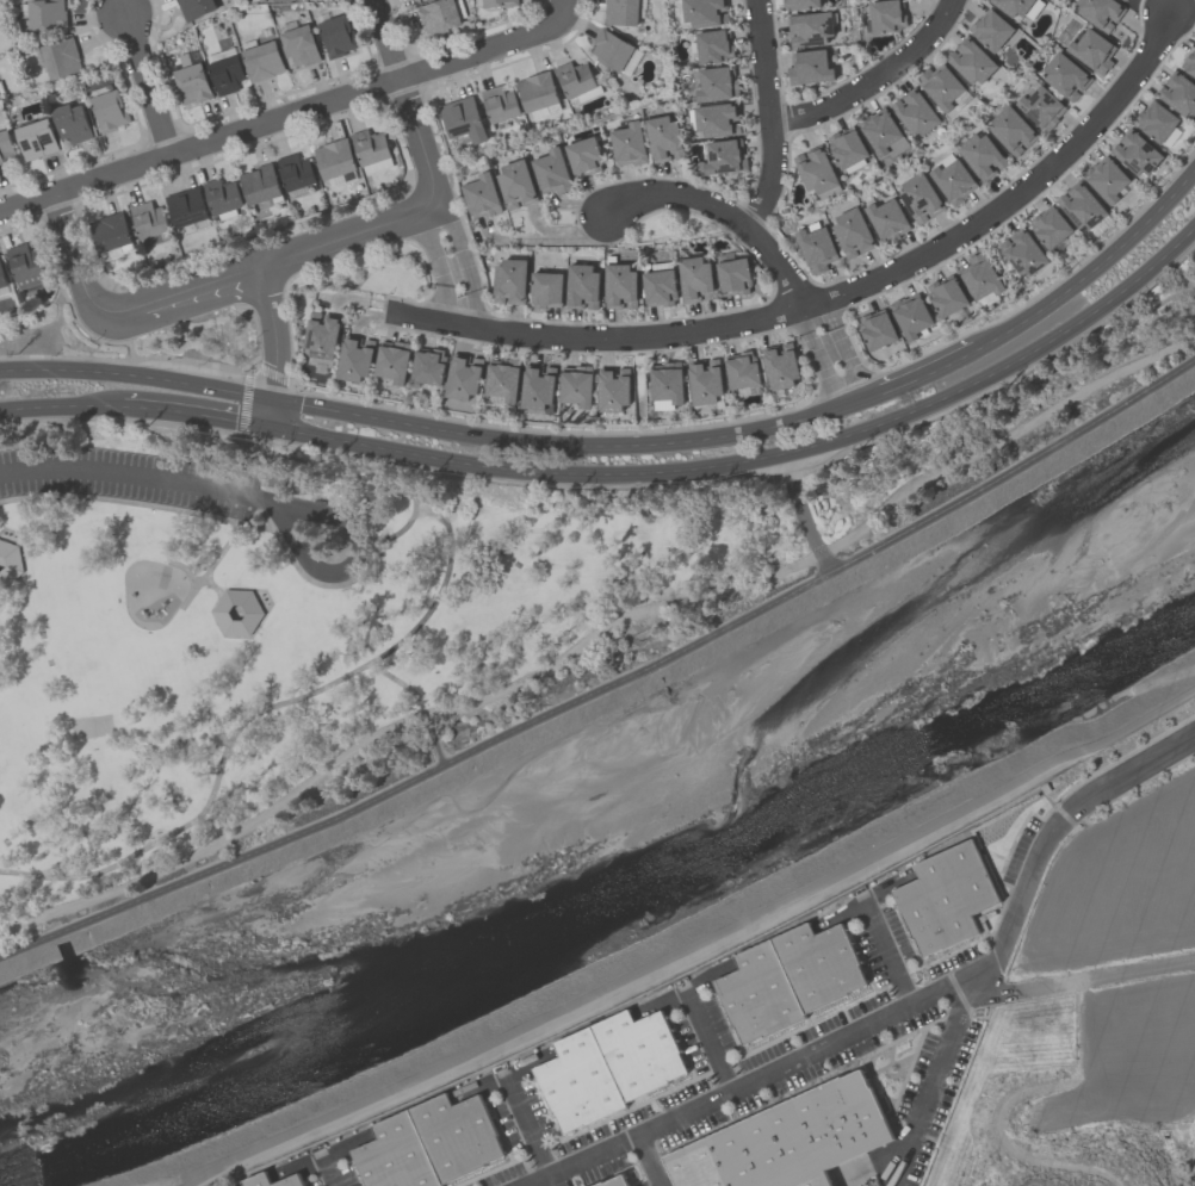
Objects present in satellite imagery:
building: (271, 0)
building: (1122, 0)
building: (499, 2)
building: (801, 4)
building: (1013, 6)
building: (194, 7)
building: (620, 12)
building: (705, 12)
building: (1101, 12)
building: (44, 14)
building: (438, 15)
building: (887, 15)
building: (810, 29)
building: (991, 29)
building: (336, 36)
building: (299, 45)
building: (713, 46)
building: (612, 50)
building: (1092, 51)
building: (61, 58)
building: (262, 61)
building: (971, 61)
building: (1189, 63)
building: (809, 67)
building: (225, 74)
building: (1065, 75)
building: (575, 79)
road: (873, 79)
road: (147, 83)
building: (192, 83)
building: (717, 83)
building: (940, 86)
building: (537, 91)
building: (1178, 93)
building: (0, 101)
building: (500, 104)
building: (1040, 107)
building: (110, 111)
road: (410, 111)
building: (916, 112)
road: (292, 113)
road: (769, 116)
building: (463, 119)
building: (717, 119)
building: (1156, 122)
building: (72, 123)
building: (879, 130)
building: (1013, 130)
building: (663, 138)
building: (36, 139)
building: (629, 144)
building: (5, 147)
building: (370, 147)
building: (847, 148)
building: (1135, 153)
building: (584, 156)
building: (982, 156)
building: (725, 157)
building: (335, 159)
building: (295, 172)
building: (551, 172)
building: (816, 172)
building: (1106, 179)
building: (954, 181)
building: (260, 185)
building: (516, 185)
building: (222, 195)
building: (482, 195)
building: (921, 198)
building: (1081, 206)
building: (187, 209)
road: (724, 212)
building: (149, 219)
building: (887, 219)
building: (1050, 226)
building: (111, 232)
building: (853, 234)
road: (553, 240)
road: (336, 242)
building: (816, 249)
building: (1023, 252)
road: (464, 260)
building: (25, 261)
road: (439, 267)
road: (1094, 272)
building: (733, 277)
building: (980, 277)
building: (2, 278)
road: (81, 279)
building: (695, 279)
building: (509, 281)
building: (620, 286)
building: (582, 287)
building: (660, 287)
road: (204, 288)
building: (546, 290)
road: (837, 293)
building: (947, 297)
building: (911, 315)
building: (877, 330)
road: (277, 335)
building: (322, 335)
road: (846, 343)
road: (819, 355)
building: (355, 358)
building: (392, 364)
building: (781, 366)
building: (428, 367)
building: (742, 372)
road: (924, 375)
building: (464, 377)
road: (140, 378)
building: (503, 379)
building: (667, 381)
building: (705, 381)
building: (577, 385)
building: (538, 387)
building: (613, 390)
road: (68, 406)
road: (275, 416)
road: (206, 418)
road: (575, 447)
road: (763, 459)
road: (357, 478)
road: (138, 479)
road: (425, 508)
road: (262, 511)
road: (427, 514)
road: (213, 516)
road: (806, 516)
road: (215, 559)
building: (10, 563)
road: (23, 564)
road: (357, 564)
road: (197, 576)
road: (198, 579)
road: (190, 580)
road: (196, 588)
road: (440, 589)
park: (390, 610)
building: (237, 614)
road: (264, 615)
road: (597, 637)
road: (611, 689)
road: (420, 704)
park: (92, 726)
road: (208, 805)
river: (603, 844)
building: (946, 899)
road: (695, 945)
road: (887, 954)
crop: (1108, 964)
building: (819, 965)
road: (1079, 981)
building: (760, 995)
road: (908, 1010)
road: (708, 1042)
building: (640, 1054)
road: (933, 1082)
building: (580, 1083)
road: (526, 1126)
building: (457, 1136)
building: (790, 1140)
building: (397, 1155)
road: (650, 1161)
road: (328, 1172)
building: (260, 1178)
building: (617, 1181)

